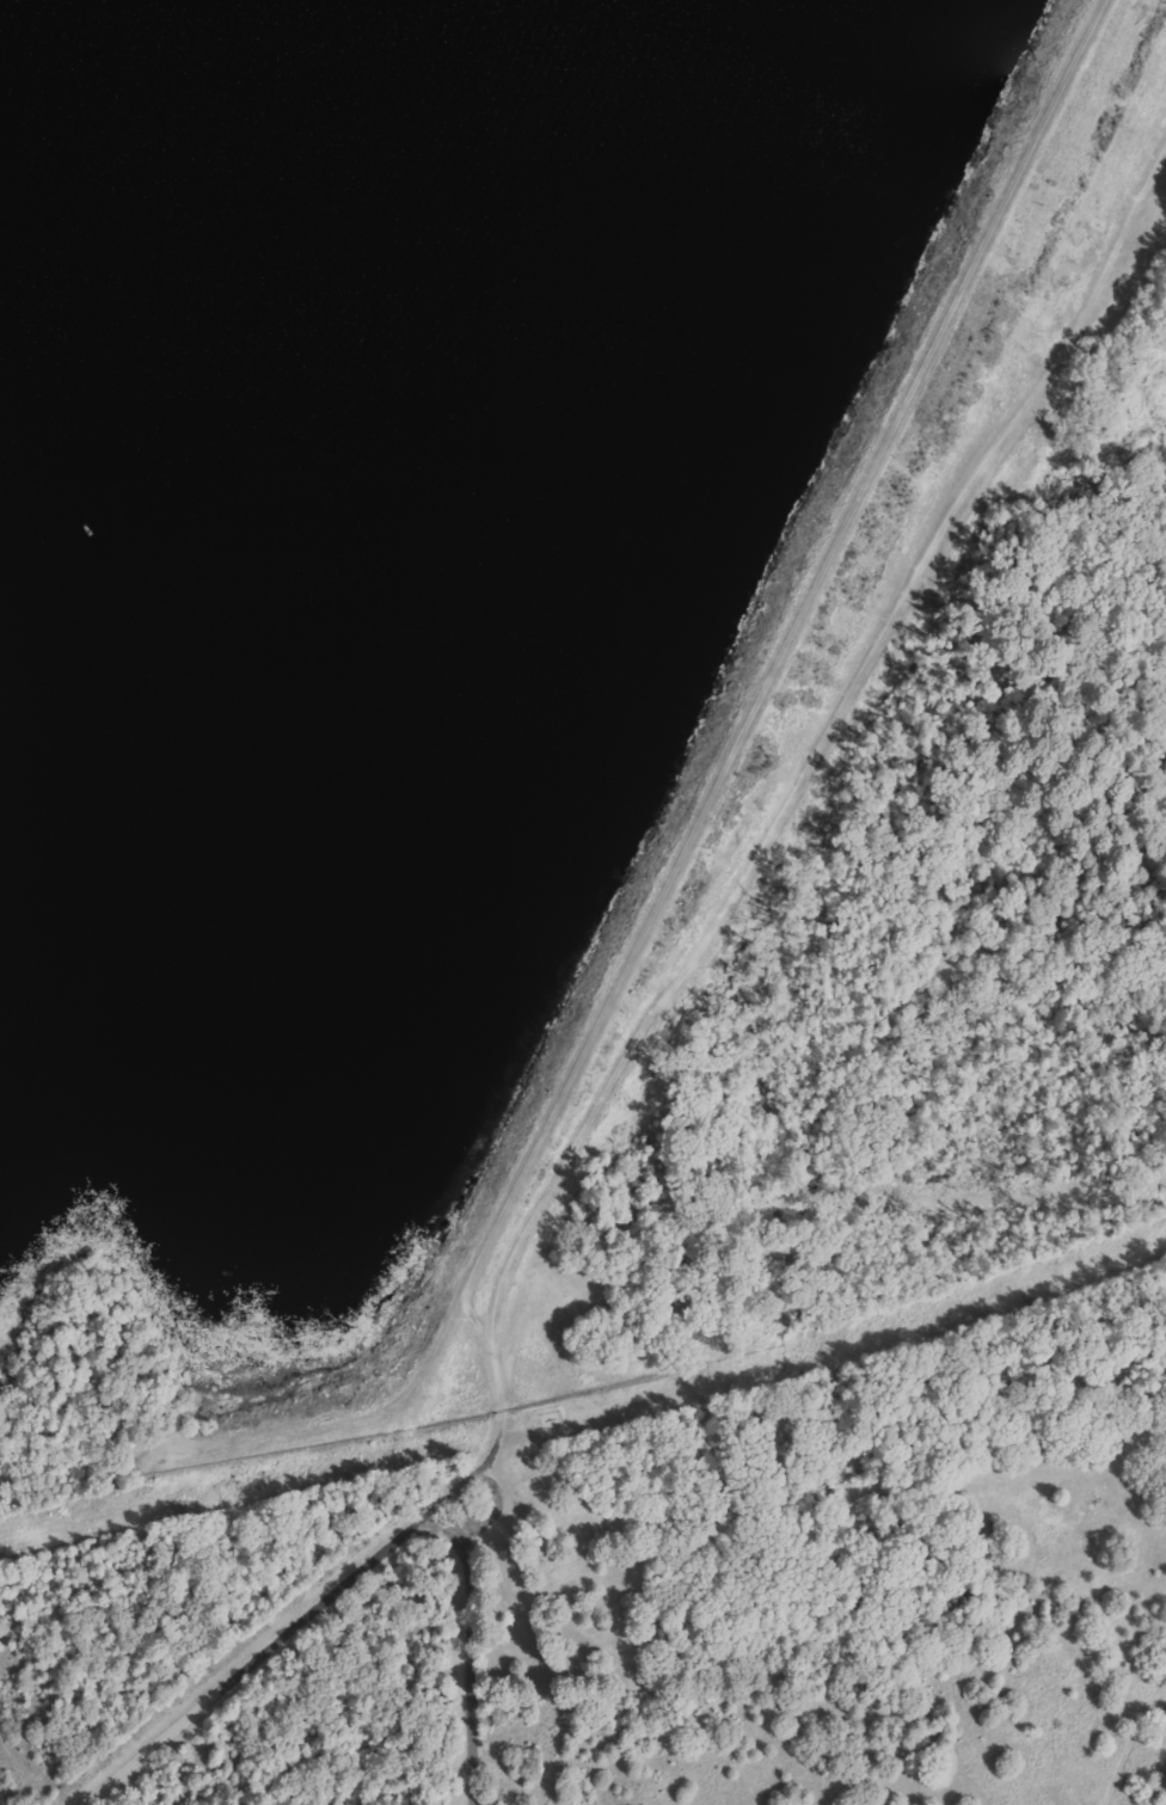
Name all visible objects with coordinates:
dam: (767, 699)
road: (468, 1619)
road: (256, 1657)
road: (470, 1761)

